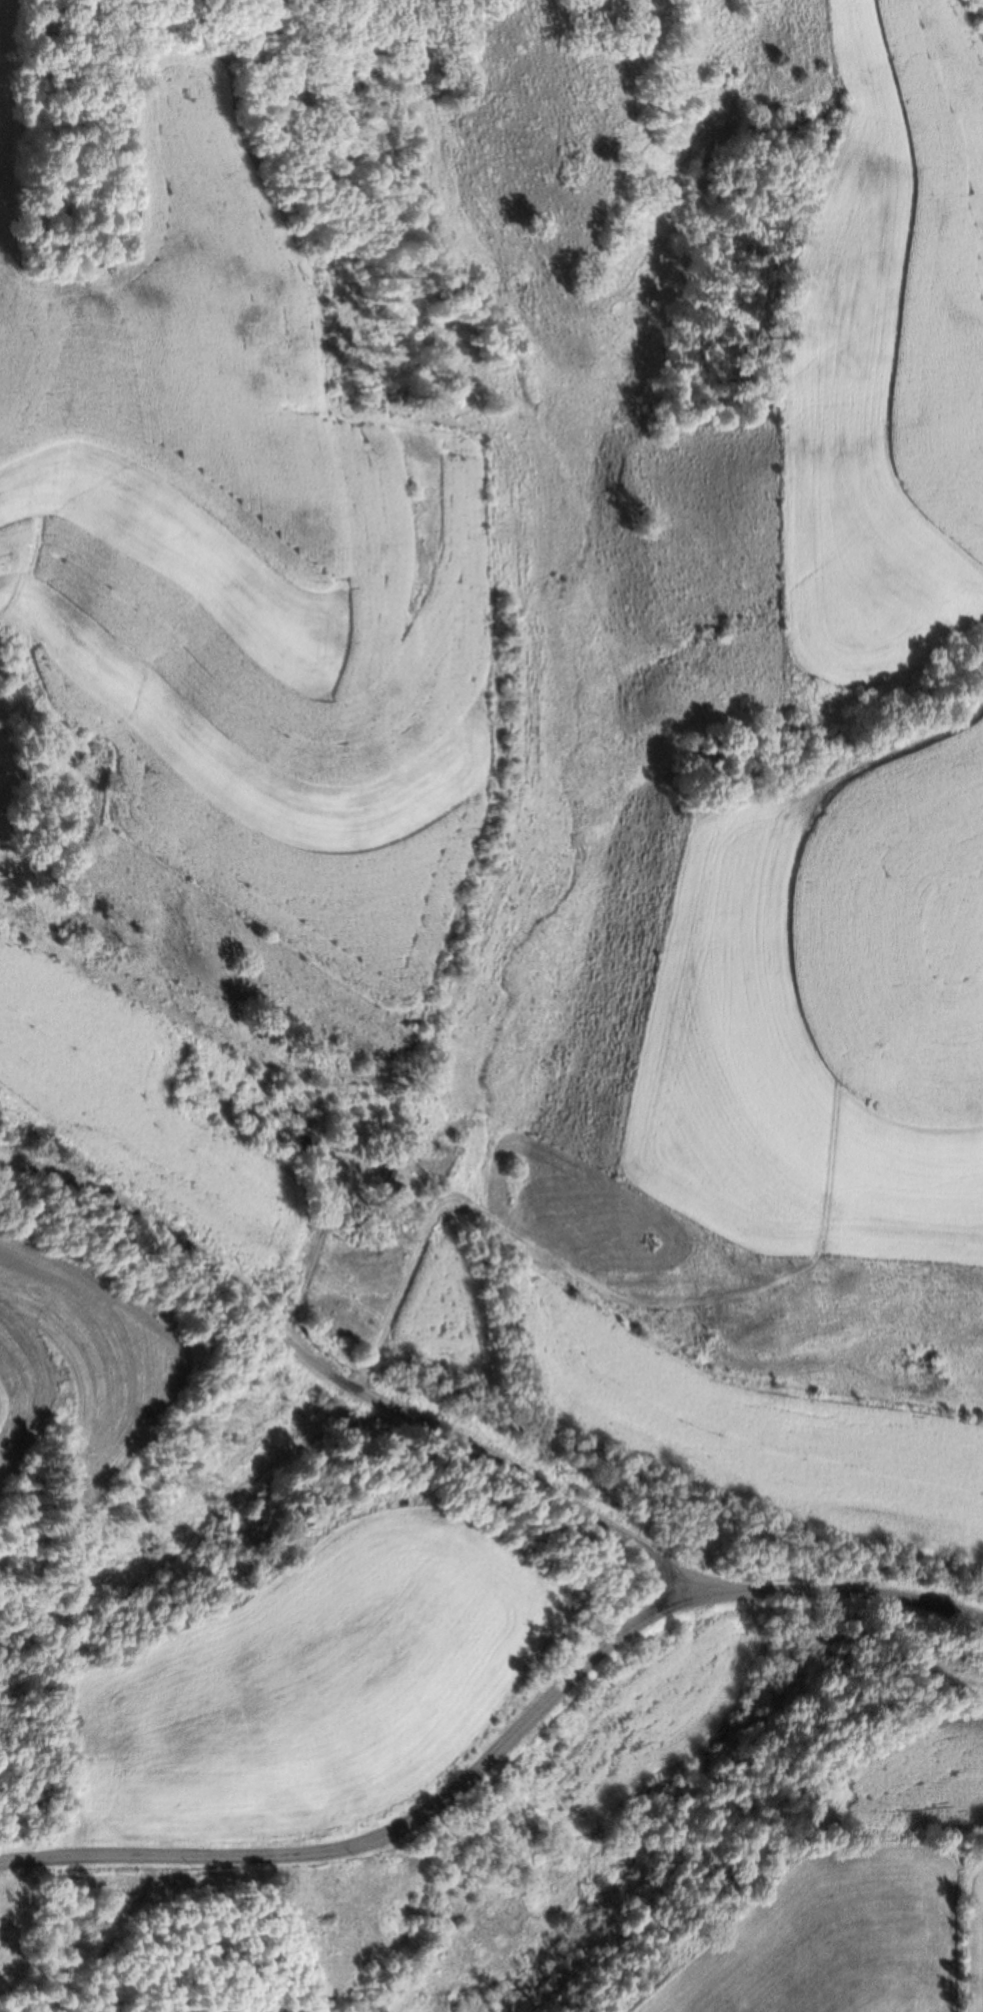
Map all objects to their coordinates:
building: (306, 1134)
building: (388, 1184)
road: (344, 1386)
road: (501, 1744)

